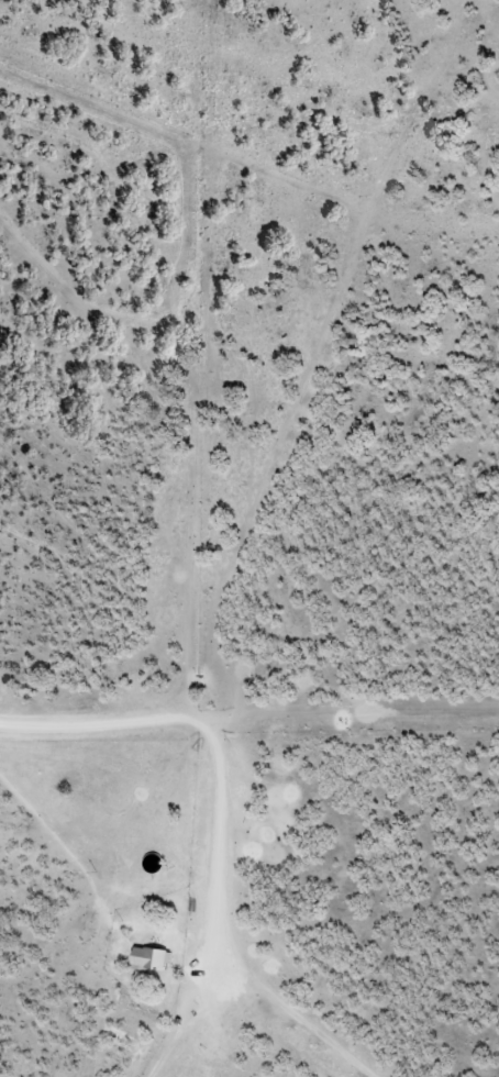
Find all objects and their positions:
road: (181, 870)
building: (152, 958)

